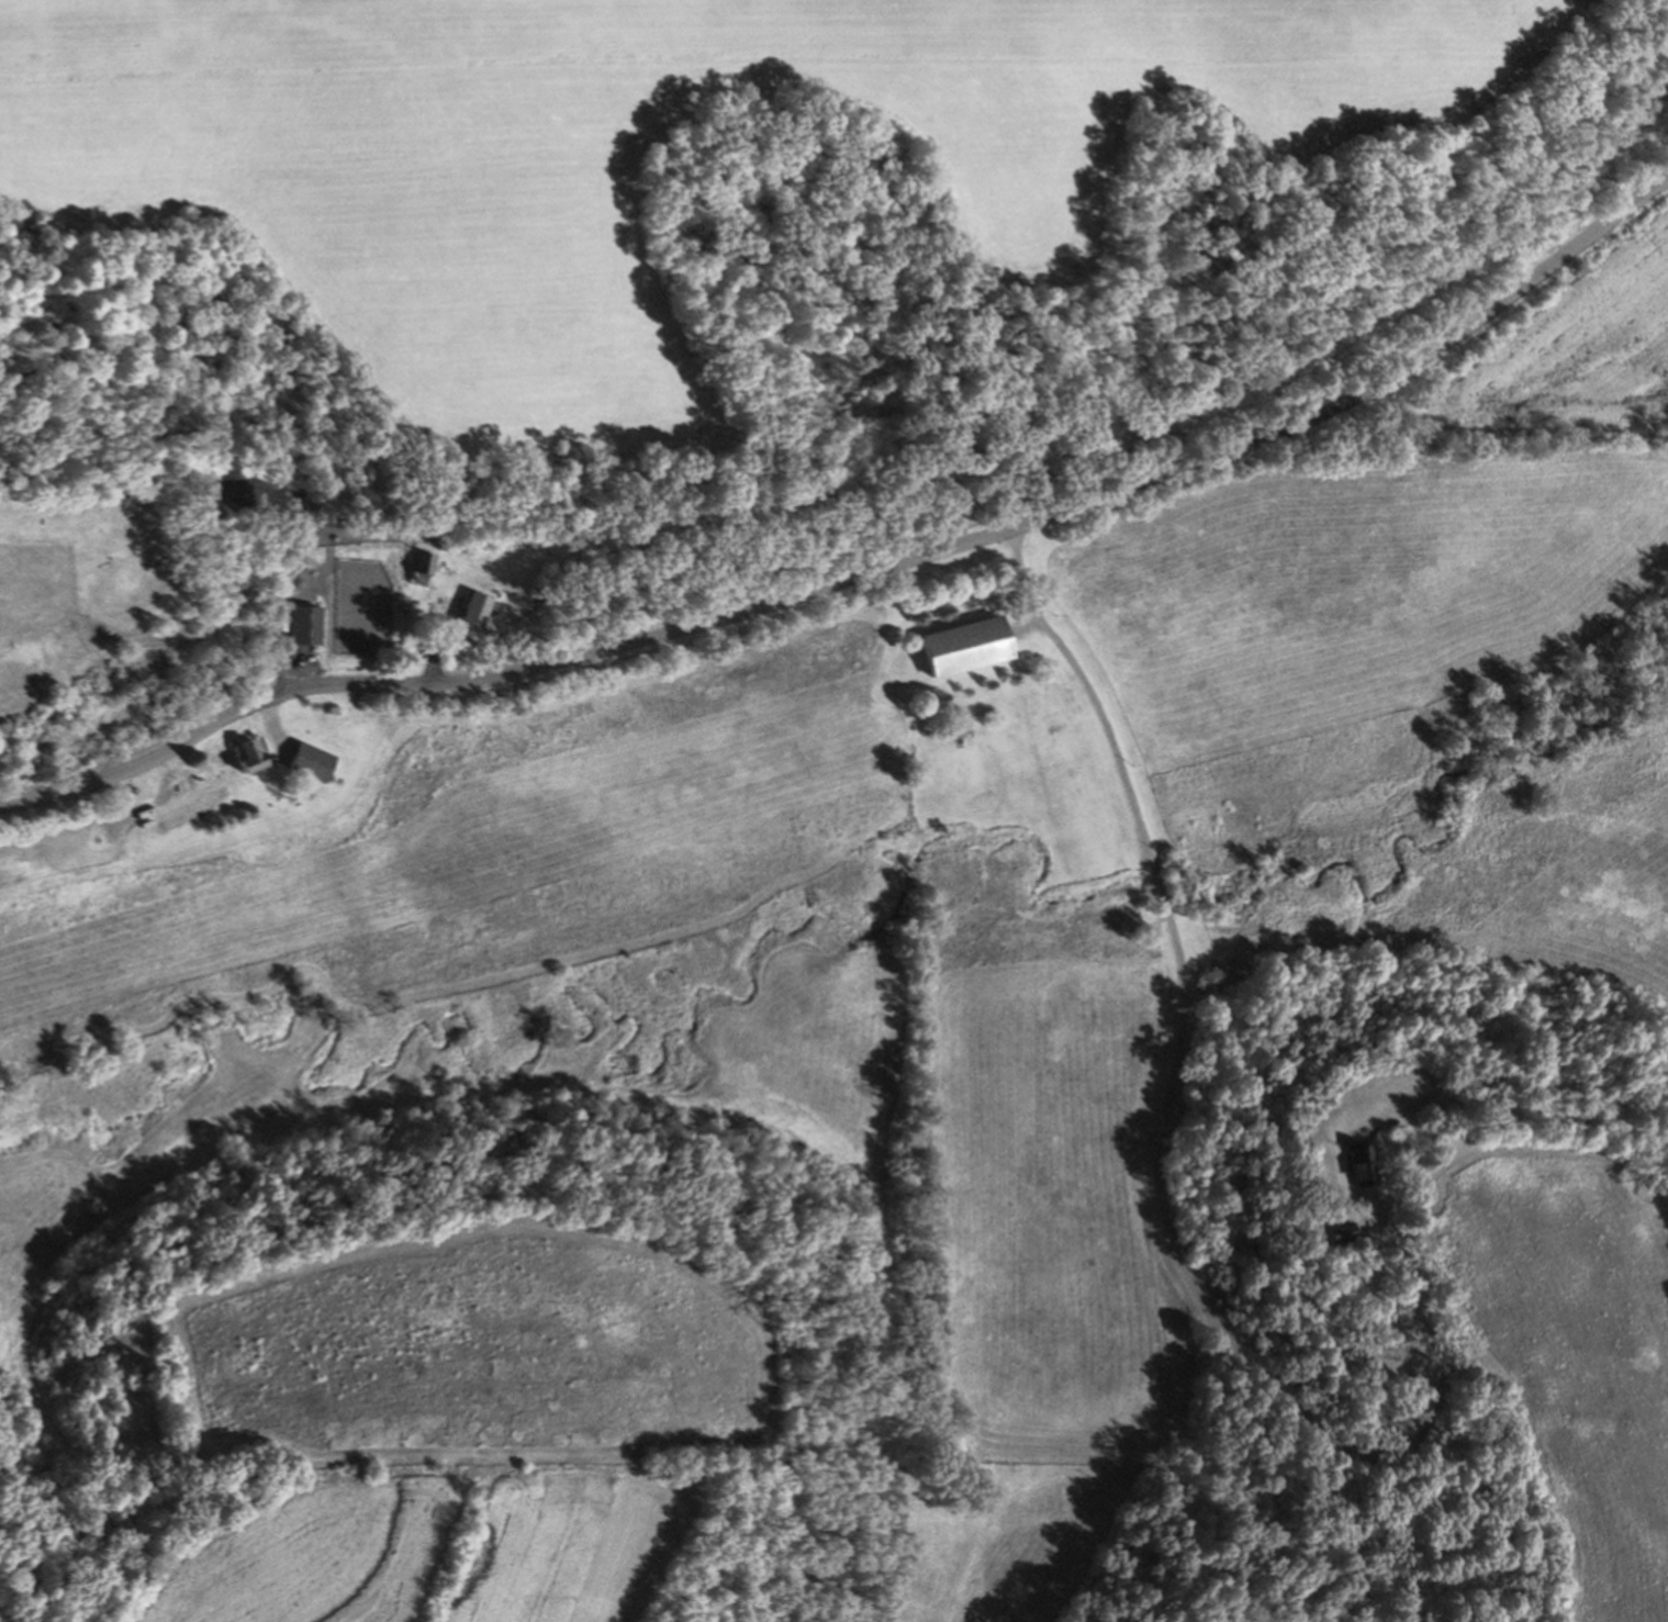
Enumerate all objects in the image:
building: (427, 569)
road: (866, 580)
building: (481, 616)
building: (310, 633)
road: (439, 649)
building: (975, 658)
building: (253, 762)
building: (314, 768)
road: (1171, 1123)
building: (1362, 1165)
building: (1346, 1229)

